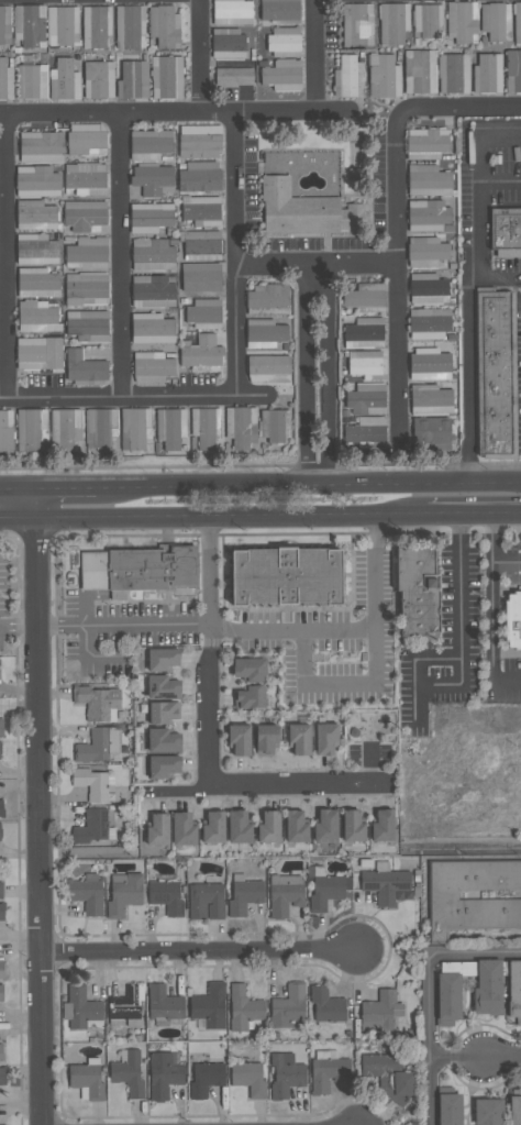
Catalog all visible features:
building: (279, 10)
building: (232, 12)
building: (495, 20)
building: (462, 21)
building: (518, 22)
building: (393, 23)
building: (357, 24)
building: (4, 25)
building: (30, 25)
building: (63, 25)
building: (96, 26)
building: (130, 26)
building: (165, 26)
building: (285, 42)
building: (229, 43)
road: (200, 56)
road: (315, 56)
building: (513, 70)
building: (420, 71)
building: (454, 73)
building: (487, 73)
building: (282, 75)
building: (234, 76)
building: (384, 76)
building: (167, 77)
building: (99, 79)
building: (133, 79)
building: (5, 80)
building: (64, 80)
building: (32, 81)
road: (176, 113)
road: (472, 131)
building: (87, 139)
building: (200, 141)
building: (426, 143)
building: (149, 144)
building: (41, 146)
building: (200, 176)
building: (86, 178)
building: (153, 179)
building: (429, 180)
building: (36, 181)
road: (473, 206)
building: (201, 210)
building: (303, 210)
building: (35, 216)
building: (86, 216)
road: (395, 216)
building: (428, 216)
building: (151, 217)
building: (507, 231)
building: (202, 245)
building: (36, 249)
building: (425, 252)
building: (87, 253)
road: (236, 253)
building: (153, 254)
road: (120, 255)
road: (5, 256)
road: (315, 264)
building: (203, 278)
building: (37, 283)
building: (428, 288)
building: (87, 289)
building: (152, 291)
building: (365, 297)
building: (267, 299)
building: (204, 312)
building: (38, 316)
building: (429, 323)
building: (88, 324)
building: (152, 328)
building: (364, 332)
building: (264, 333)
building: (201, 352)
building: (38, 353)
road: (467, 353)
building: (365, 362)
building: (430, 364)
building: (84, 366)
building: (152, 366)
building: (269, 368)
road: (318, 374)
building: (494, 375)
road: (253, 394)
road: (121, 396)
road: (3, 398)
building: (366, 399)
building: (431, 399)
building: (275, 426)
building: (170, 427)
building: (101, 428)
building: (135, 428)
building: (224, 428)
building: (5, 430)
building: (66, 430)
building: (366, 433)
building: (431, 434)
road: (308, 485)
road: (66, 487)
road: (18, 488)
road: (475, 516)
road: (214, 518)
road: (507, 562)
building: (141, 570)
road: (211, 572)
road: (377, 573)
building: (287, 578)
road: (461, 587)
building: (419, 595)
road: (82, 606)
road: (492, 613)
building: (512, 619)
road: (124, 626)
road: (19, 628)
road: (212, 629)
road: (377, 639)
road: (91, 653)
road: (444, 659)
building: (0, 675)
building: (248, 692)
building: (99, 703)
building: (165, 715)
building: (1, 726)
park: (372, 726)
building: (99, 746)
building: (0, 749)
road: (370, 763)
building: (91, 783)
road: (225, 783)
road: (177, 792)
road: (38, 806)
building: (1, 807)
building: (271, 826)
building: (93, 827)
building: (1, 832)
road: (465, 849)
building: (385, 883)
building: (324, 887)
building: (1, 890)
building: (87, 893)
building: (166, 893)
building: (124, 894)
building: (244, 894)
building: (285, 894)
building: (473, 896)
building: (206, 901)
building: (2, 911)
road: (199, 951)
building: (2, 969)
building: (488, 988)
building: (514, 990)
building: (1, 993)
road: (428, 994)
building: (448, 997)
building: (164, 1003)
building: (210, 1005)
building: (326, 1005)
building: (126, 1007)
building: (243, 1007)
building: (289, 1007)
building: (81, 1010)
building: (383, 1014)
building: (1, 1050)
road: (501, 1057)
road: (455, 1058)
building: (330, 1070)
building: (128, 1072)
building: (164, 1074)
building: (389, 1076)
building: (2, 1077)
building: (285, 1077)
building: (206, 1078)
building: (248, 1078)
building: (87, 1080)
building: (450, 1109)
building: (514, 1110)
building: (488, 1111)

